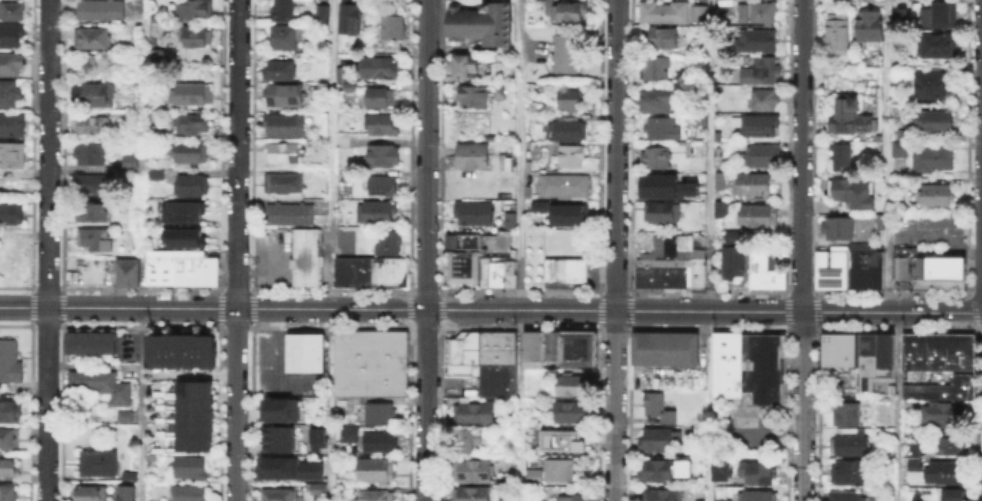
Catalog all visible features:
building: (728, 4)
building: (102, 9)
building: (196, 9)
building: (286, 10)
building: (568, 11)
building: (661, 11)
building: (12, 12)
building: (697, 12)
building: (764, 12)
building: (744, 14)
building: (324, 15)
building: (351, 17)
building: (943, 17)
building: (157, 18)
building: (903, 20)
building: (393, 24)
building: (485, 24)
building: (871, 28)
building: (838, 32)
building: (12, 35)
building: (193, 36)
building: (92, 37)
building: (285, 38)
building: (664, 38)
building: (756, 41)
building: (939, 47)
building: (568, 54)
building: (159, 57)
building: (12, 64)
building: (465, 64)
building: (860, 64)
building: (95, 65)
building: (281, 69)
building: (378, 69)
building: (656, 69)
building: (761, 73)
building: (347, 81)
building: (934, 85)
building: (195, 94)
building: (282, 94)
building: (10, 95)
building: (96, 95)
building: (474, 98)
building: (382, 99)
building: (571, 100)
building: (766, 100)
building: (656, 102)
road: (710, 115)
building: (131, 117)
building: (699, 117)
building: (842, 119)
building: (935, 123)
building: (869, 124)
building: (13, 125)
building: (193, 125)
building: (285, 125)
building: (384, 125)
building: (761, 127)
building: (92, 128)
building: (664, 129)
building: (153, 132)
building: (570, 133)
building: (715, 134)
building: (699, 147)
building: (896, 147)
building: (716, 150)
building: (186, 153)
building: (284, 153)
road: (330, 154)
building: (12, 155)
building: (93, 155)
building: (385, 156)
building: (930, 156)
building: (474, 157)
building: (572, 157)
building: (763, 157)
building: (656, 159)
building: (841, 159)
building: (131, 162)
building: (156, 175)
building: (716, 178)
building: (91, 183)
building: (285, 184)
building: (755, 184)
building: (383, 185)
building: (567, 186)
building: (656, 186)
building: (193, 187)
building: (691, 191)
building: (854, 193)
building: (937, 196)
building: (699, 206)
building: (718, 207)
building: (471, 210)
building: (659, 210)
building: (188, 211)
building: (561, 211)
building: (11, 212)
building: (376, 212)
building: (94, 213)
building: (755, 214)
building: (291, 216)
building: (507, 218)
building: (876, 220)
building: (835, 225)
building: (93, 237)
building: (189, 237)
building: (386, 242)
building: (669, 243)
building: (360, 246)
road: (47, 250)
road: (237, 250)
road: (426, 250)
road: (520, 250)
road: (614, 250)
road: (799, 250)
road: (887, 251)
building: (729, 253)
building: (305, 255)
building: (462, 256)
building: (951, 259)
building: (125, 263)
building: (855, 264)
building: (872, 265)
building: (150, 266)
building: (165, 266)
building: (179, 266)
building: (837, 266)
building: (898, 266)
building: (200, 267)
building: (564, 268)
building: (759, 268)
building: (820, 268)
building: (694, 269)
building: (351, 270)
building: (387, 270)
road: (709, 271)
building: (495, 272)
building: (917, 272)
building: (931, 272)
building: (646, 273)
building: (673, 273)
building: (950, 276)
building: (127, 277)
building: (776, 277)
road: (491, 309)
building: (71, 339)
building: (84, 339)
building: (96, 339)
building: (109, 339)
building: (550, 344)
building: (838, 345)
building: (469, 346)
building: (483, 346)
building: (501, 346)
building: (664, 346)
building: (567, 347)
building: (584, 347)
building: (7, 348)
building: (531, 348)
building: (912, 350)
building: (935, 350)
building: (960, 350)
building: (155, 351)
building: (171, 351)
building: (188, 351)
building: (205, 351)
building: (294, 351)
building: (312, 351)
building: (884, 355)
building: (870, 358)
building: (861, 361)
building: (368, 362)
building: (840, 364)
building: (748, 365)
building: (10, 369)
road: (192, 373)
building: (495, 379)
building: (101, 384)
building: (574, 386)
building: (941, 387)
building: (192, 388)
road: (329, 391)
building: (192, 403)
road: (141, 404)
road: (708, 406)
building: (279, 410)
building: (660, 410)
building: (941, 410)
building: (8, 411)
building: (476, 412)
building: (573, 413)
building: (845, 413)
building: (123, 414)
building: (381, 415)
building: (192, 416)
building: (192, 429)
building: (315, 436)
building: (350, 436)
building: (277, 439)
building: (7, 440)
building: (660, 440)
building: (469, 441)
building: (564, 441)
building: (192, 442)
building: (380, 443)
building: (952, 443)
building: (849, 445)
building: (908, 447)
building: (530, 461)
building: (911, 463)
building: (97, 464)
building: (275, 467)
building: (681, 467)
building: (10, 468)
building: (191, 468)
building: (309, 469)
building: (719, 469)
building: (375, 470)
building: (757, 470)
building: (475, 471)
building: (560, 471)
building: (658, 471)
building: (946, 472)
building: (850, 473)
building: (533, 476)
building: (130, 478)
building: (315, 487)
road: (330, 488)
building: (124, 492)
building: (191, 493)
building: (9, 494)
building: (92, 494)
building: (758, 494)
building: (956, 494)
building: (278, 495)
building: (475, 495)
building: (662, 495)
building: (375, 496)
building: (846, 496)
building: (571, 499)
building: (721, 499)
building: (697, 500)

